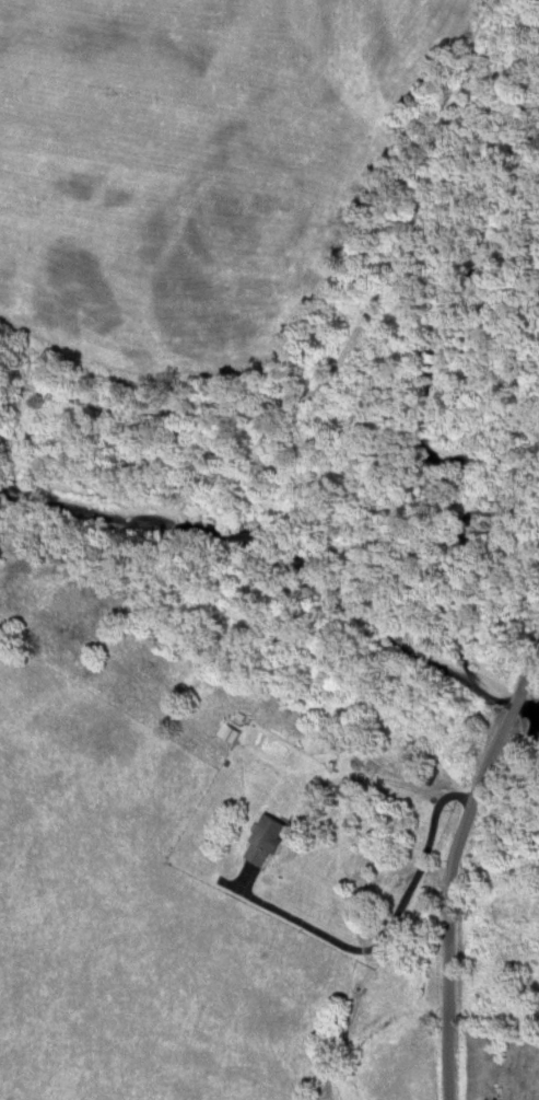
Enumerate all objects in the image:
road: (350, 346)
building: (238, 732)
building: (272, 841)
road: (455, 870)
park: (502, 1061)

